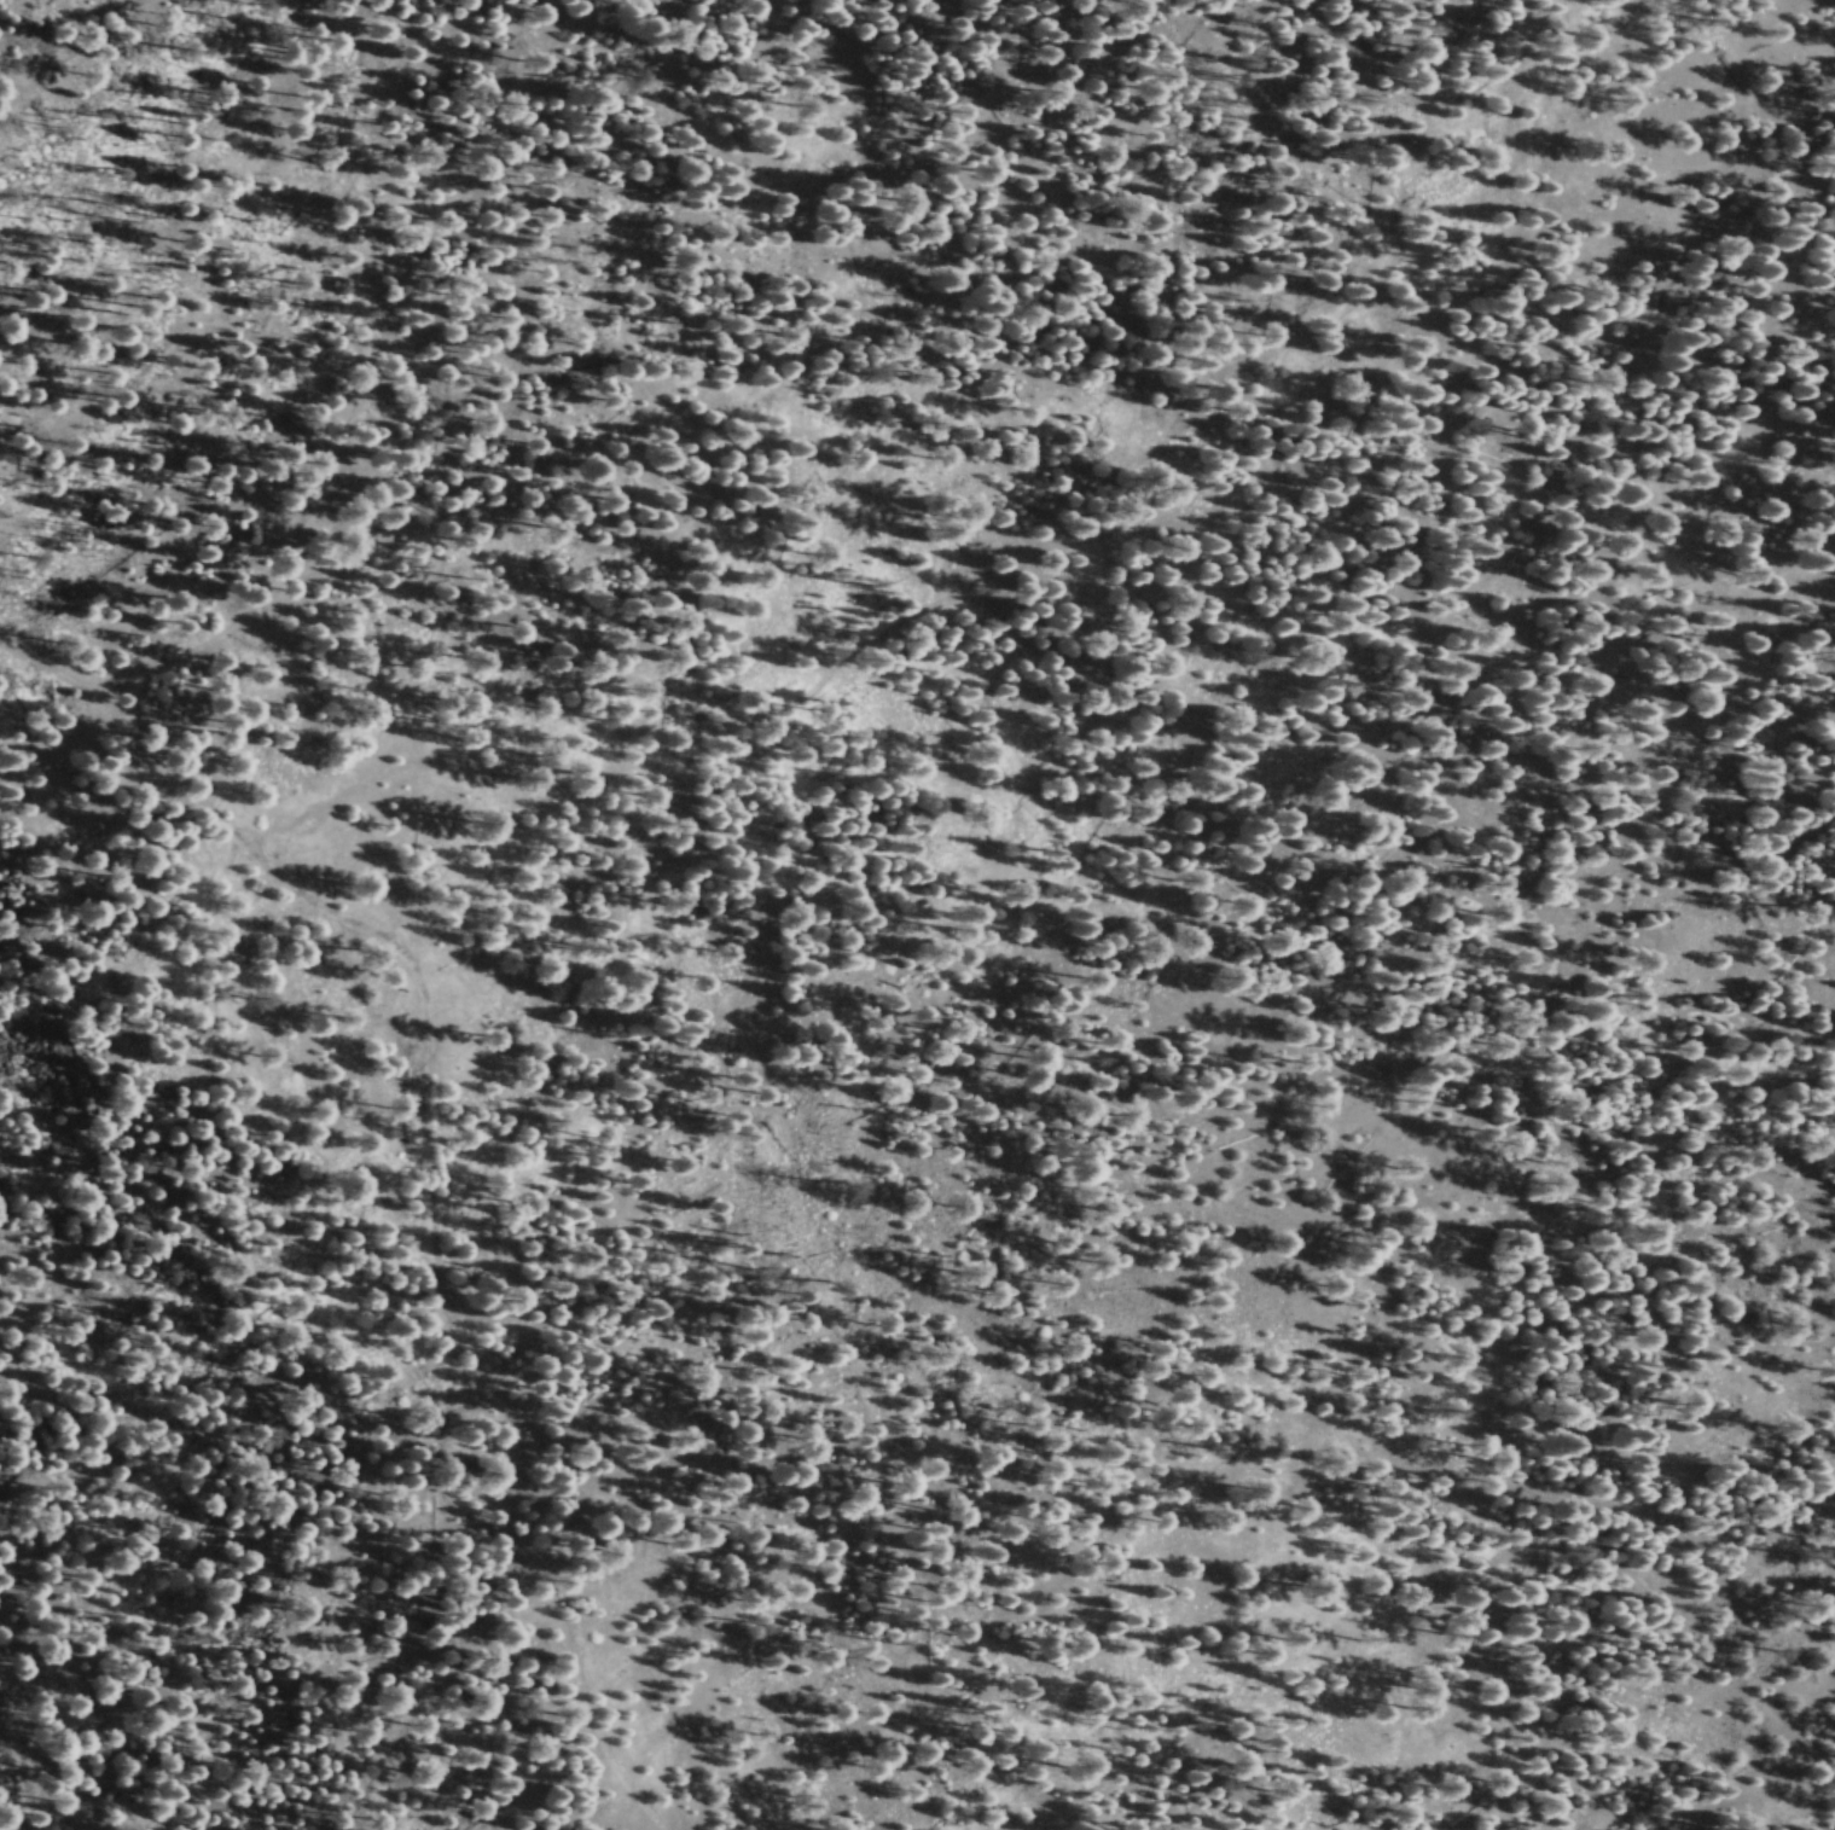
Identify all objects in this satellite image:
road: (227, 395)
road: (923, 576)

